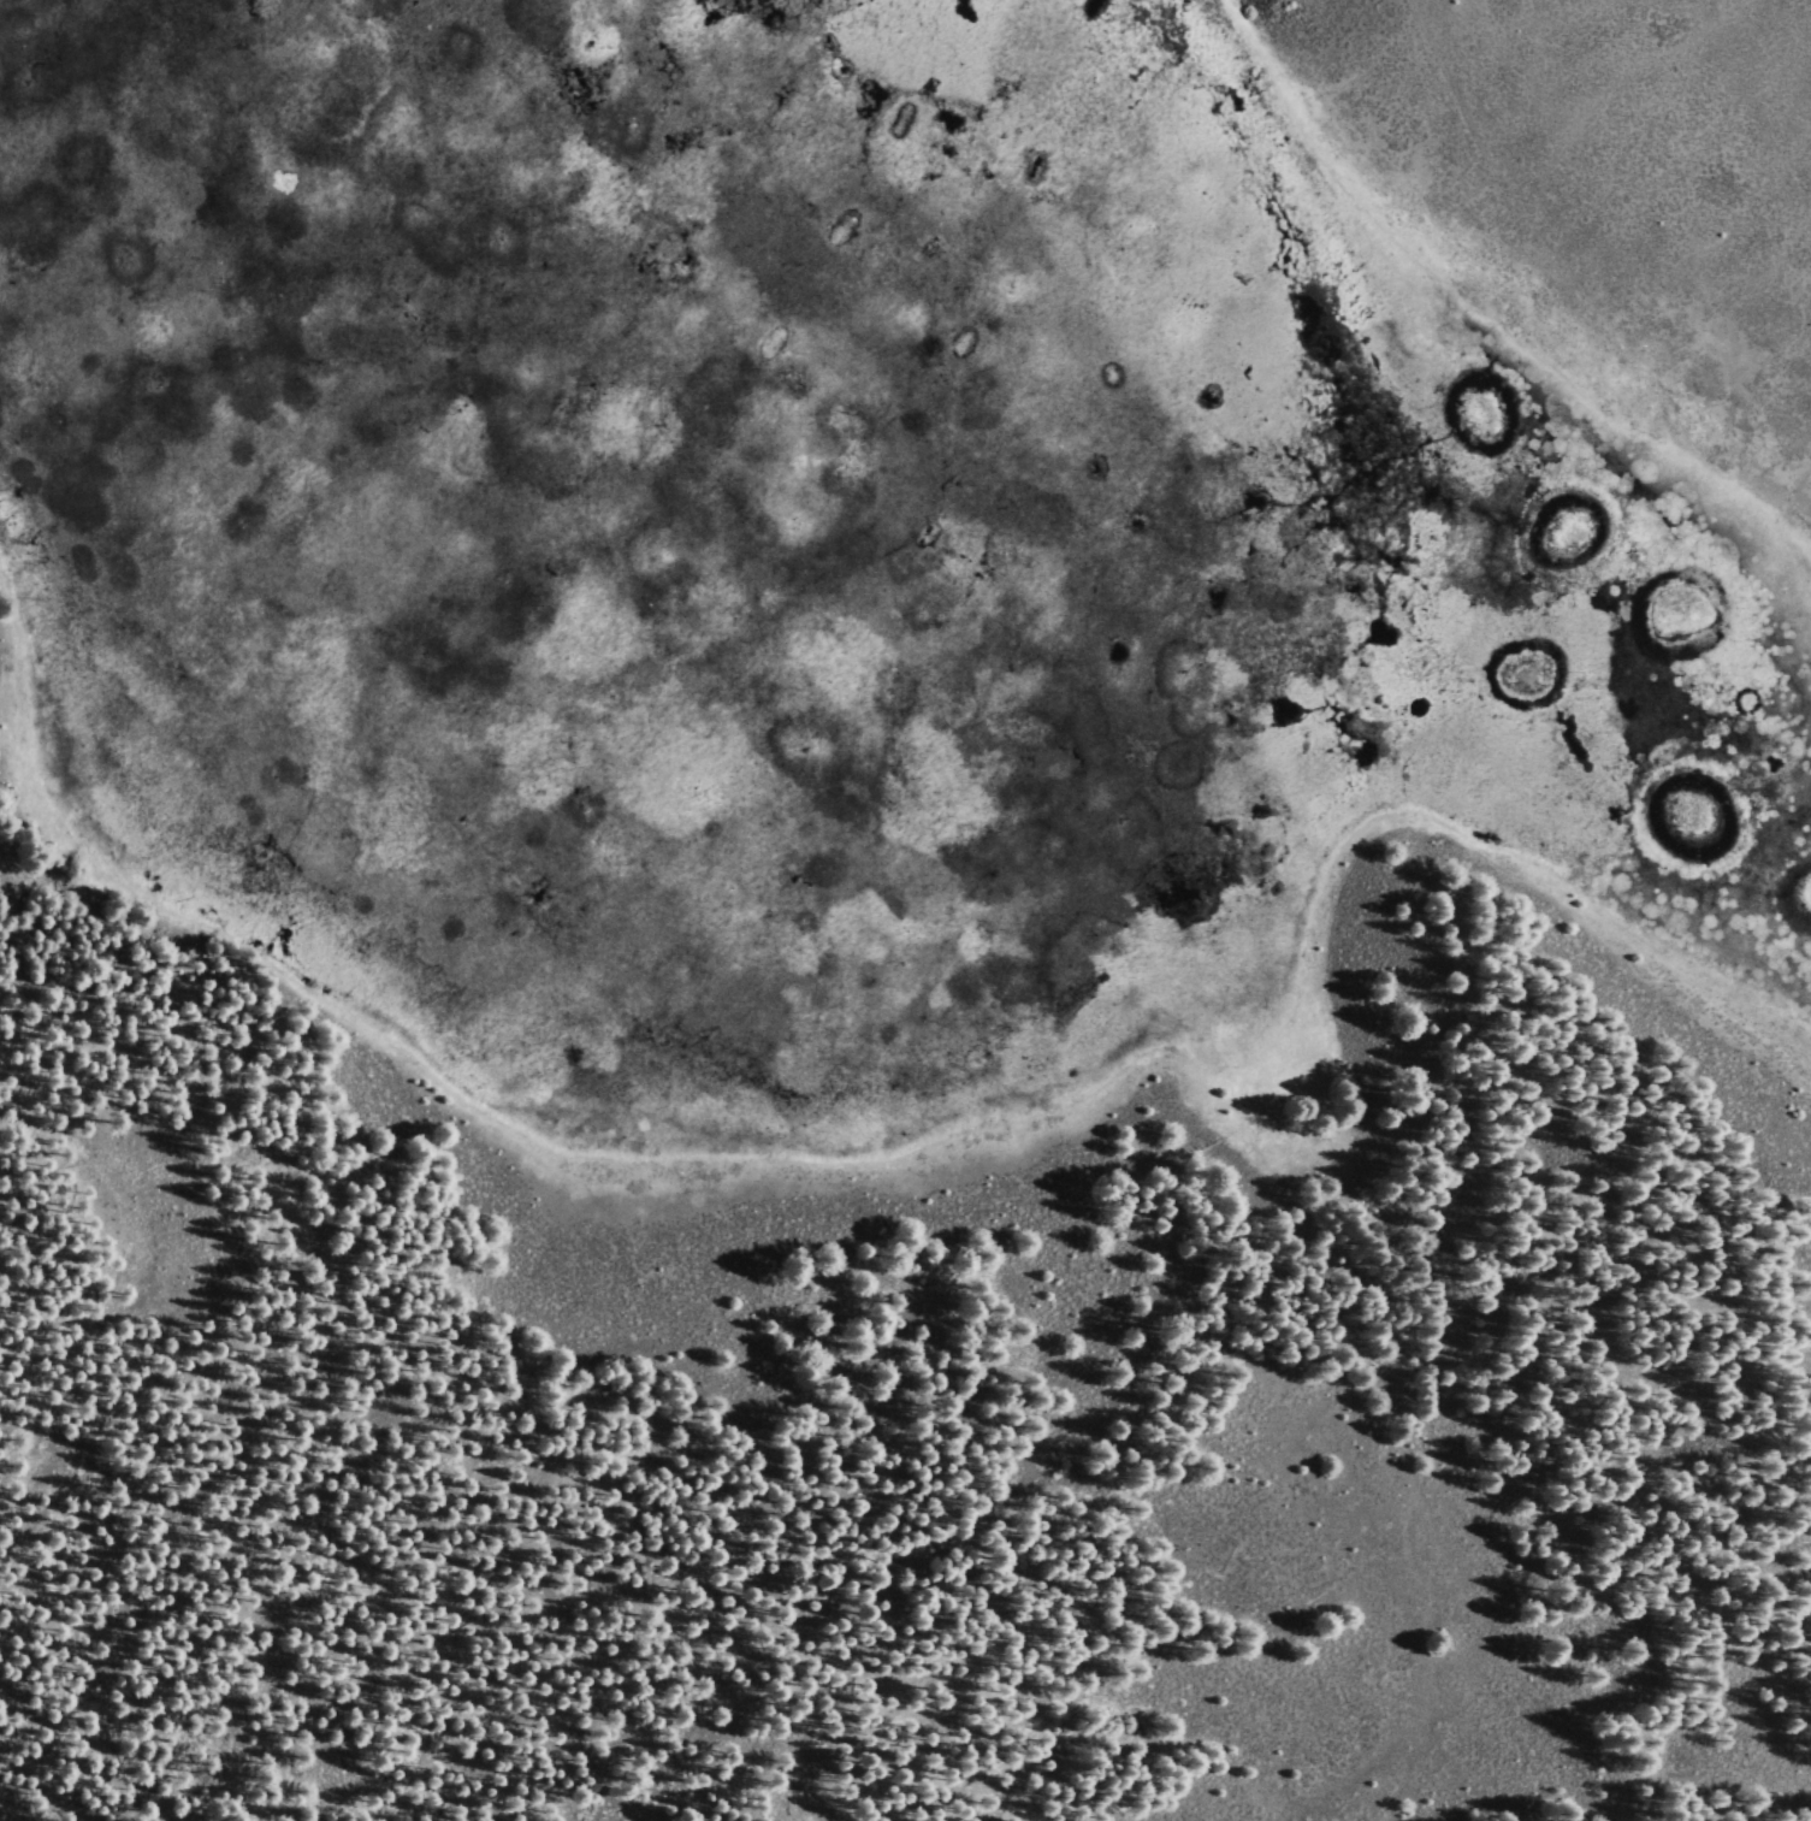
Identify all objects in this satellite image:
road: (12, 1811)

